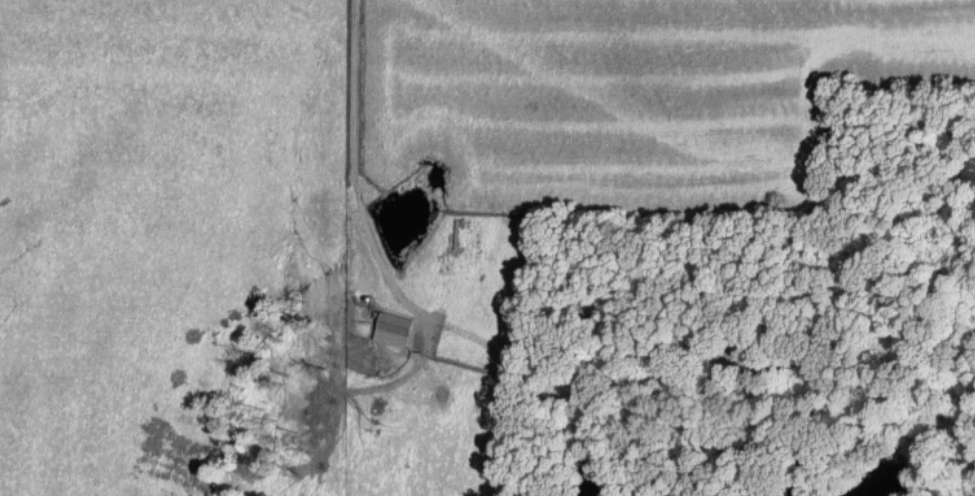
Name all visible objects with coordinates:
building: (393, 328)

